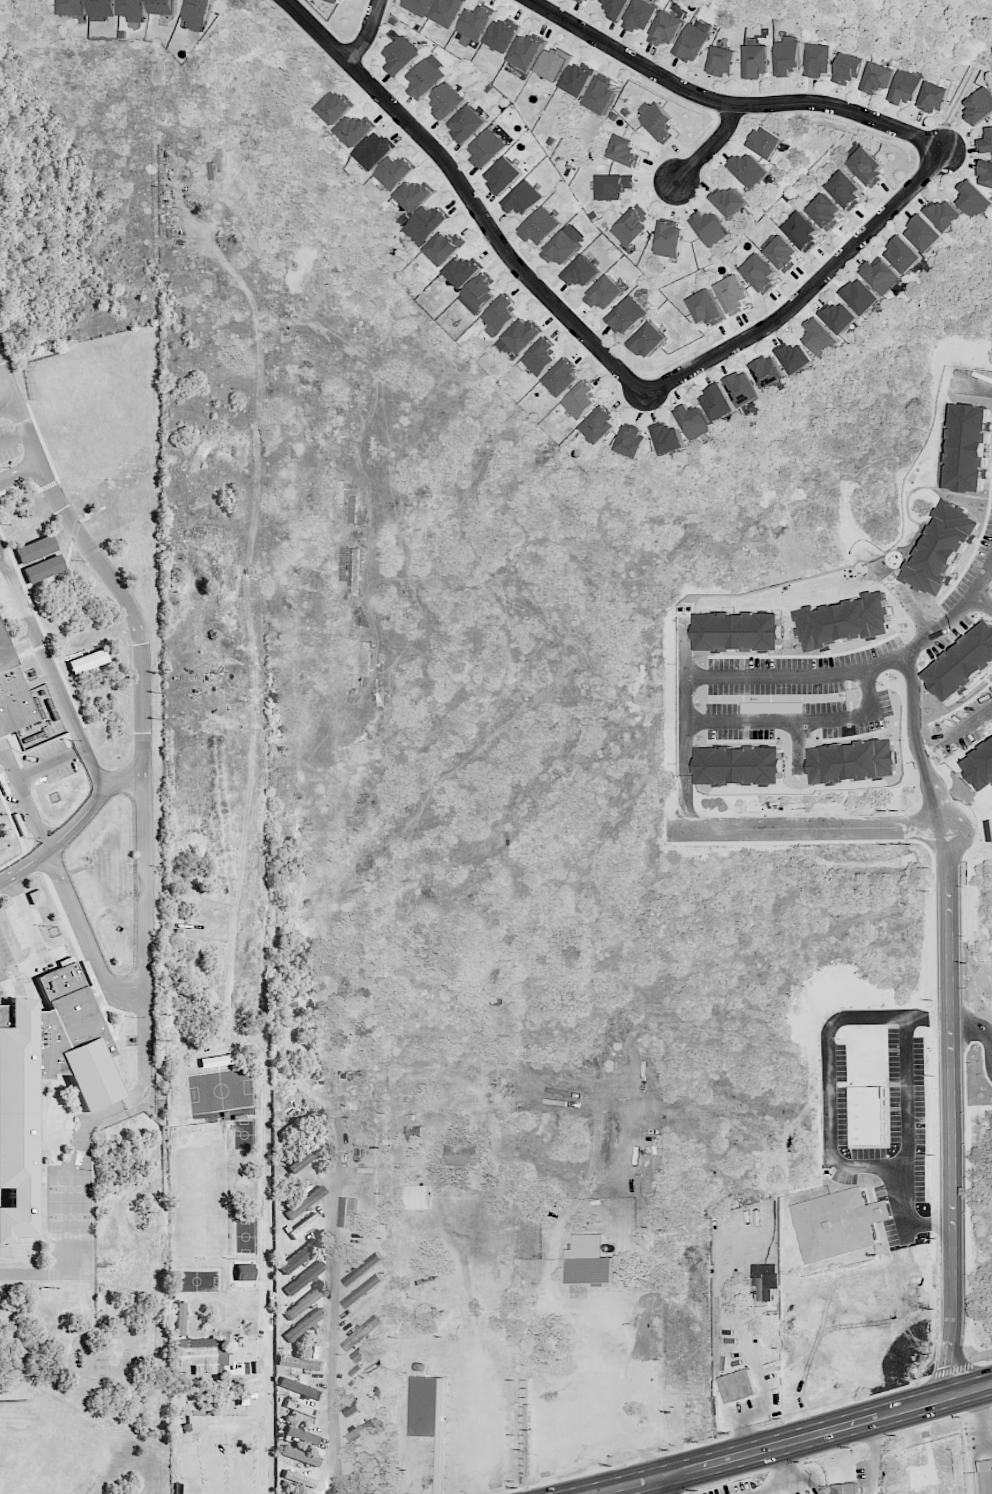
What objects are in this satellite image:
building: (336, 0)
building: (597, 0)
building: (581, 1)
building: (419, 6)
building: (73, 7)
building: (163, 7)
building: (101, 9)
building: (616, 9)
building: (132, 10)
building: (448, 11)
building: (197, 15)
building: (641, 15)
building: (475, 24)
building: (667, 29)
road: (366, 33)
building: (501, 35)
building: (693, 43)
building: (525, 52)
building: (402, 55)
building: (787, 55)
building: (819, 59)
building: (757, 60)
building: (722, 61)
building: (552, 64)
building: (849, 68)
building: (426, 76)
building: (877, 78)
building: (577, 79)
building: (906, 87)
building: (602, 96)
building: (934, 97)
building: (446, 101)
road: (724, 103)
building: (980, 106)
building: (334, 107)
building: (658, 120)
building: (467, 123)
building: (355, 130)
building: (765, 141)
building: (986, 142)
building: (487, 148)
road: (710, 148)
building: (624, 150)
building: (375, 151)
building: (866, 165)
building: (748, 169)
building: (395, 172)
building: (986, 174)
building: (504, 175)
building: (613, 186)
building: (845, 188)
road: (467, 194)
building: (413, 195)
building: (523, 198)
building: (972, 199)
building: (730, 201)
building: (825, 211)
building: (944, 214)
building: (426, 224)
building: (540, 226)
building: (709, 228)
building: (802, 231)
building: (923, 233)
building: (669, 238)
building: (445, 247)
building: (561, 248)
building: (781, 252)
building: (903, 254)
building: (462, 270)
building: (581, 272)
building: (759, 273)
building: (881, 276)
building: (605, 293)
building: (732, 294)
road: (805, 295)
building: (861, 296)
building: (705, 307)
building: (500, 315)
building: (626, 316)
building: (839, 317)
building: (519, 337)
building: (819, 337)
building: (649, 340)
building: (540, 357)
building: (795, 357)
building: (766, 371)
building: (562, 378)
building: (742, 388)
road: (973, 389)
building: (581, 400)
road: (6, 403)
park: (98, 403)
building: (717, 403)
building: (693, 421)
building: (599, 425)
road: (13, 438)
building: (667, 438)
building: (630, 440)
road: (42, 441)
parking lot: (7, 444)
road: (19, 473)
road: (20, 483)
road: (48, 485)
road: (86, 514)
road: (57, 572)
road: (982, 603)
road: (913, 609)
road: (41, 627)
road: (138, 639)
road: (683, 649)
building: (87, 661)
road: (53, 676)
road: (719, 677)
road: (911, 678)
building: (11, 696)
road: (802, 721)
road: (964, 724)
parking lot: (33, 780)
road: (20, 781)
road: (805, 830)
road: (12, 859)
building: (35, 896)
road: (76, 948)
parking lot: (4, 955)
road: (142, 973)
building: (865, 990)
building: (93, 995)
road: (973, 1024)
road: (143, 1049)
road: (827, 1068)
building: (44, 1077)
park: (221, 1090)
road: (950, 1112)
road: (905, 1142)
building: (461, 1154)
building: (305, 1158)
park: (69, 1188)
park: (200, 1190)
building: (417, 1197)
road: (91, 1199)
building: (305, 1202)
building: (346, 1212)
park: (69, 1216)
park: (245, 1236)
building: (297, 1257)
building: (589, 1260)
building: (361, 1269)
road: (23, 1273)
building: (304, 1278)
park: (196, 1280)
building: (764, 1280)
building: (361, 1291)
building: (302, 1304)
road: (335, 1305)
building: (304, 1324)
building: (231, 1332)
building: (360, 1332)
building: (358, 1353)
building: (202, 1355)
building: (300, 1363)
building: (736, 1385)
building: (300, 1388)
building: (362, 1401)
building: (427, 1407)
building: (301, 1411)
road: (980, 1419)
road: (267, 1425)
building: (361, 1429)
road: (870, 1431)
road: (746, 1432)
building: (301, 1435)
road: (791, 1441)
park: (55, 1446)
road: (836, 1448)
building: (299, 1455)
road: (782, 1465)
road: (974, 1465)
road: (873, 1468)
building: (985, 1475)
building: (298, 1478)
road: (816, 1483)
road: (666, 1485)
road: (782, 1485)
building: (845, 1488)

